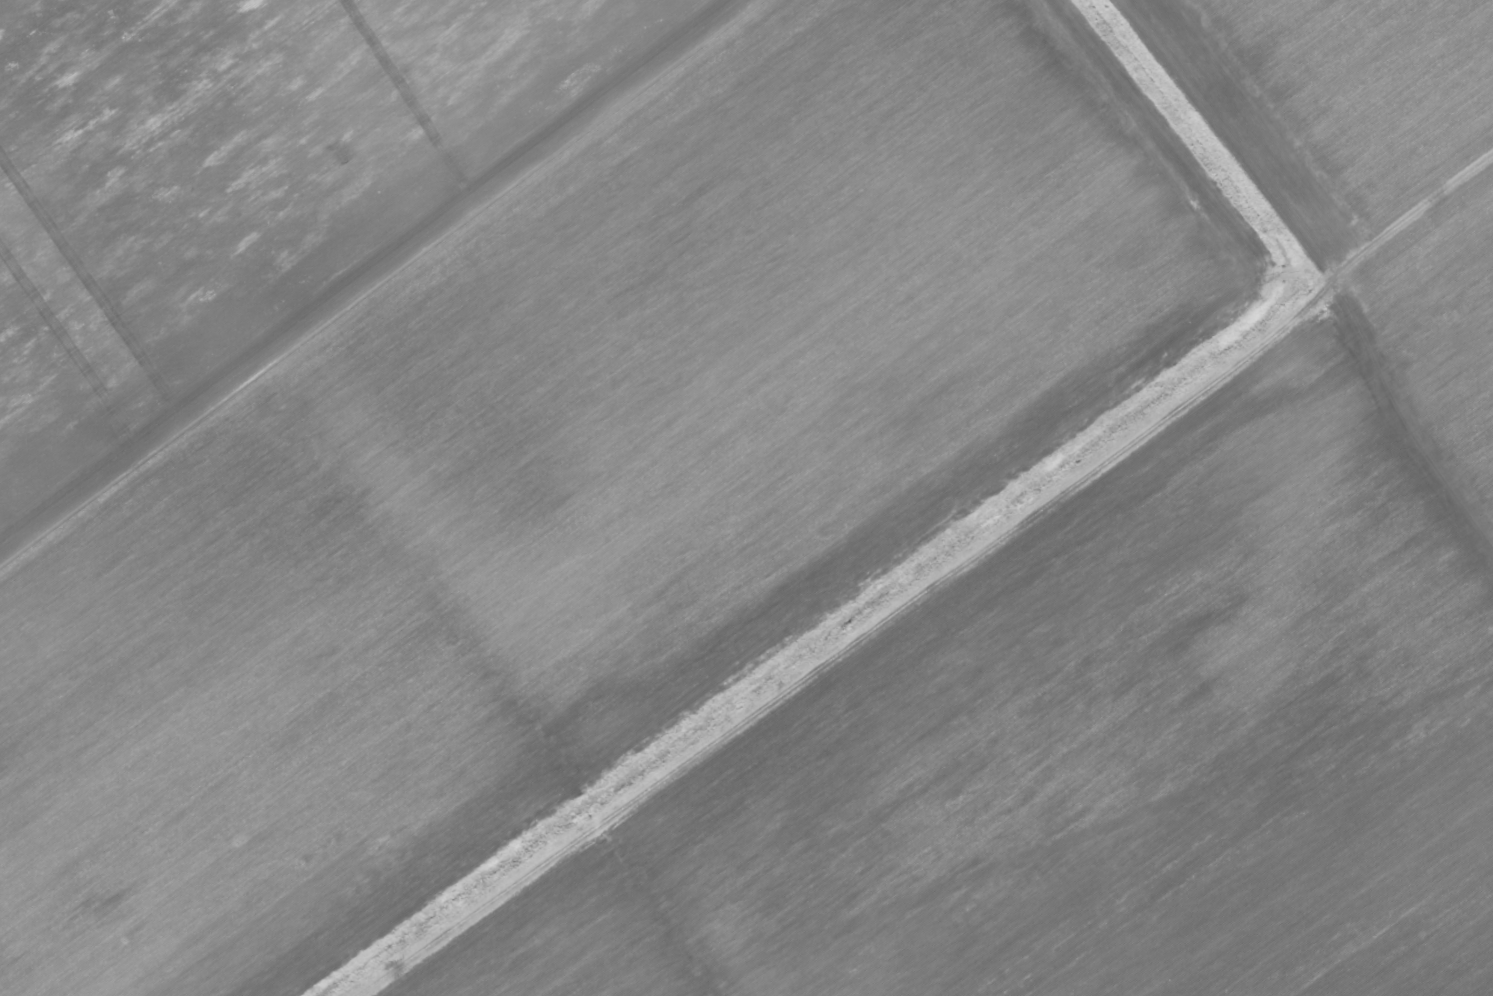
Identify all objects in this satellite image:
road: (1317, 187)
road: (1400, 426)
road: (872, 631)

